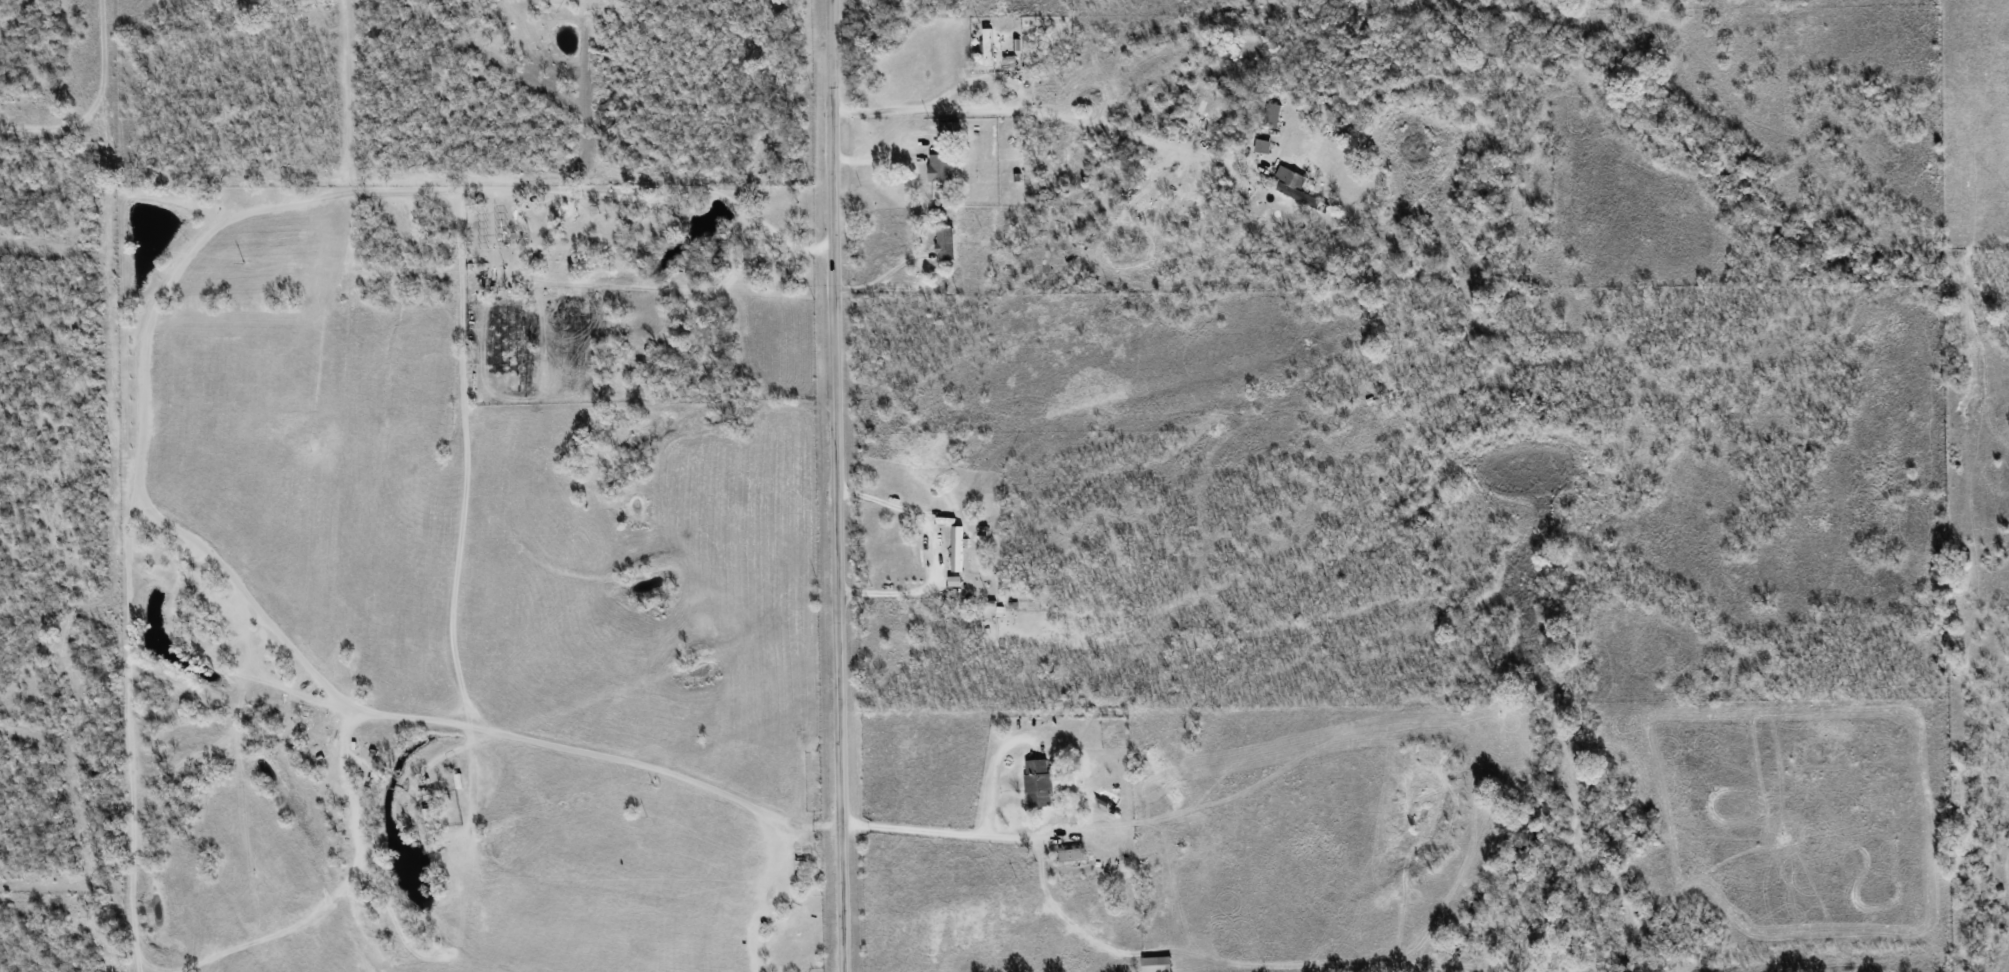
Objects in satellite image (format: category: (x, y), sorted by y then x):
building: (991, 46)
building: (1011, 61)
road: (1046, 114)
building: (1274, 115)
building: (952, 129)
building: (1266, 146)
road: (879, 158)
building: (944, 167)
building: (1298, 187)
road: (305, 197)
building: (948, 243)
road: (836, 486)
building: (959, 548)
road: (935, 552)
building: (958, 580)
road: (526, 739)
building: (1042, 782)
building: (431, 813)
road: (957, 834)
building: (1075, 854)
building: (1159, 964)

